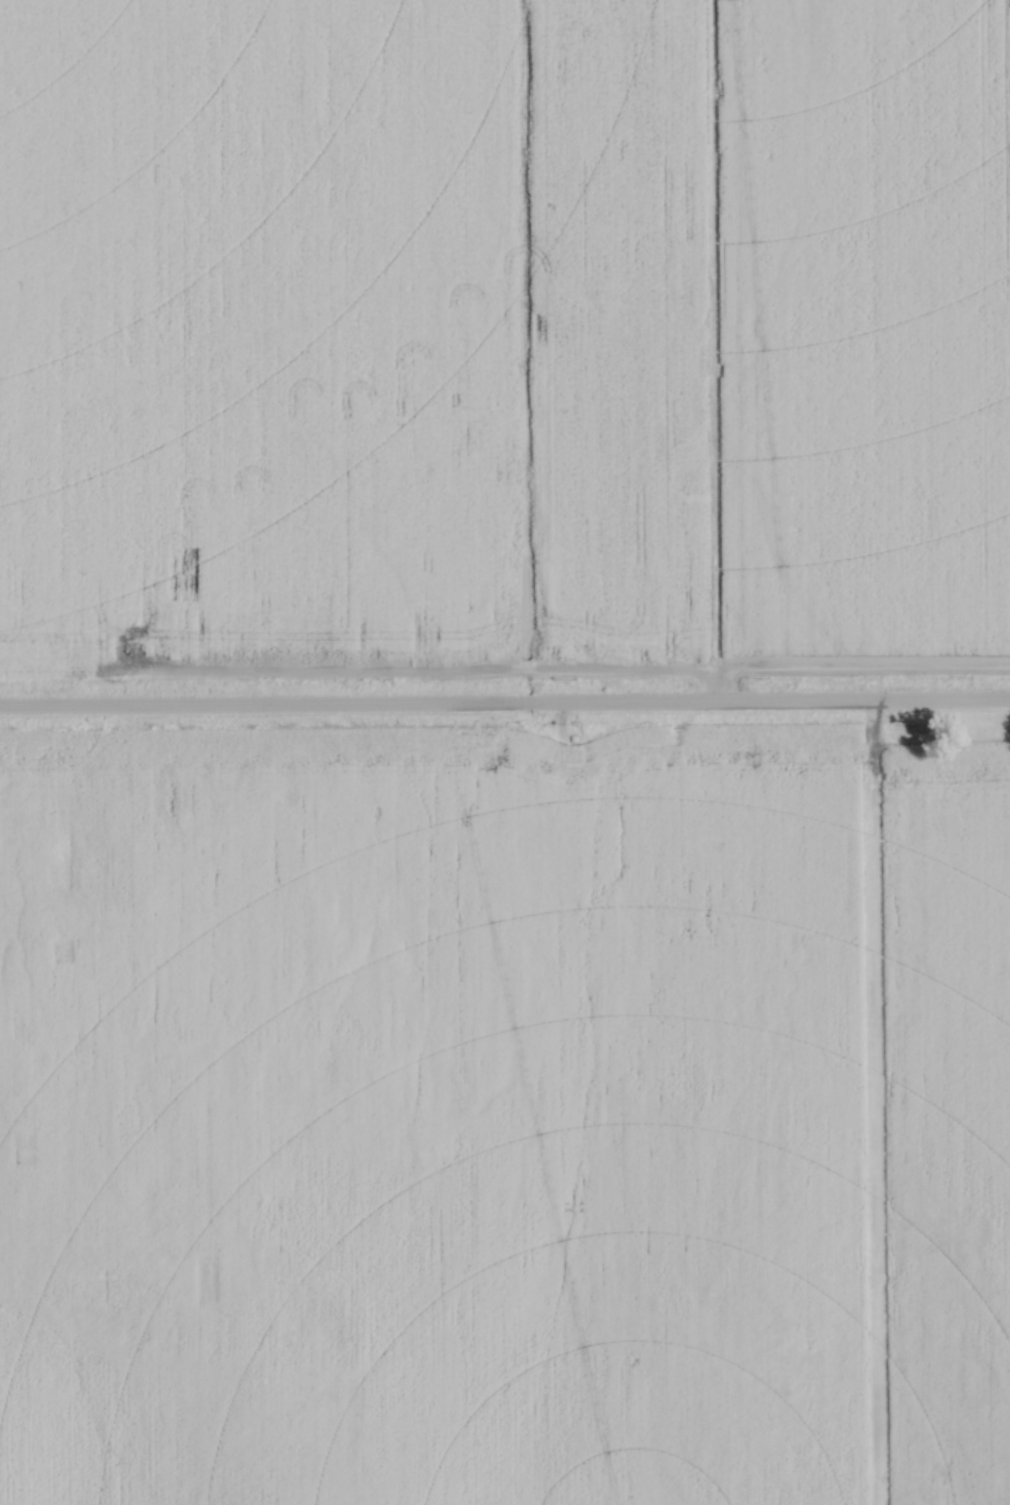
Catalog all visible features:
road: (505, 710)

